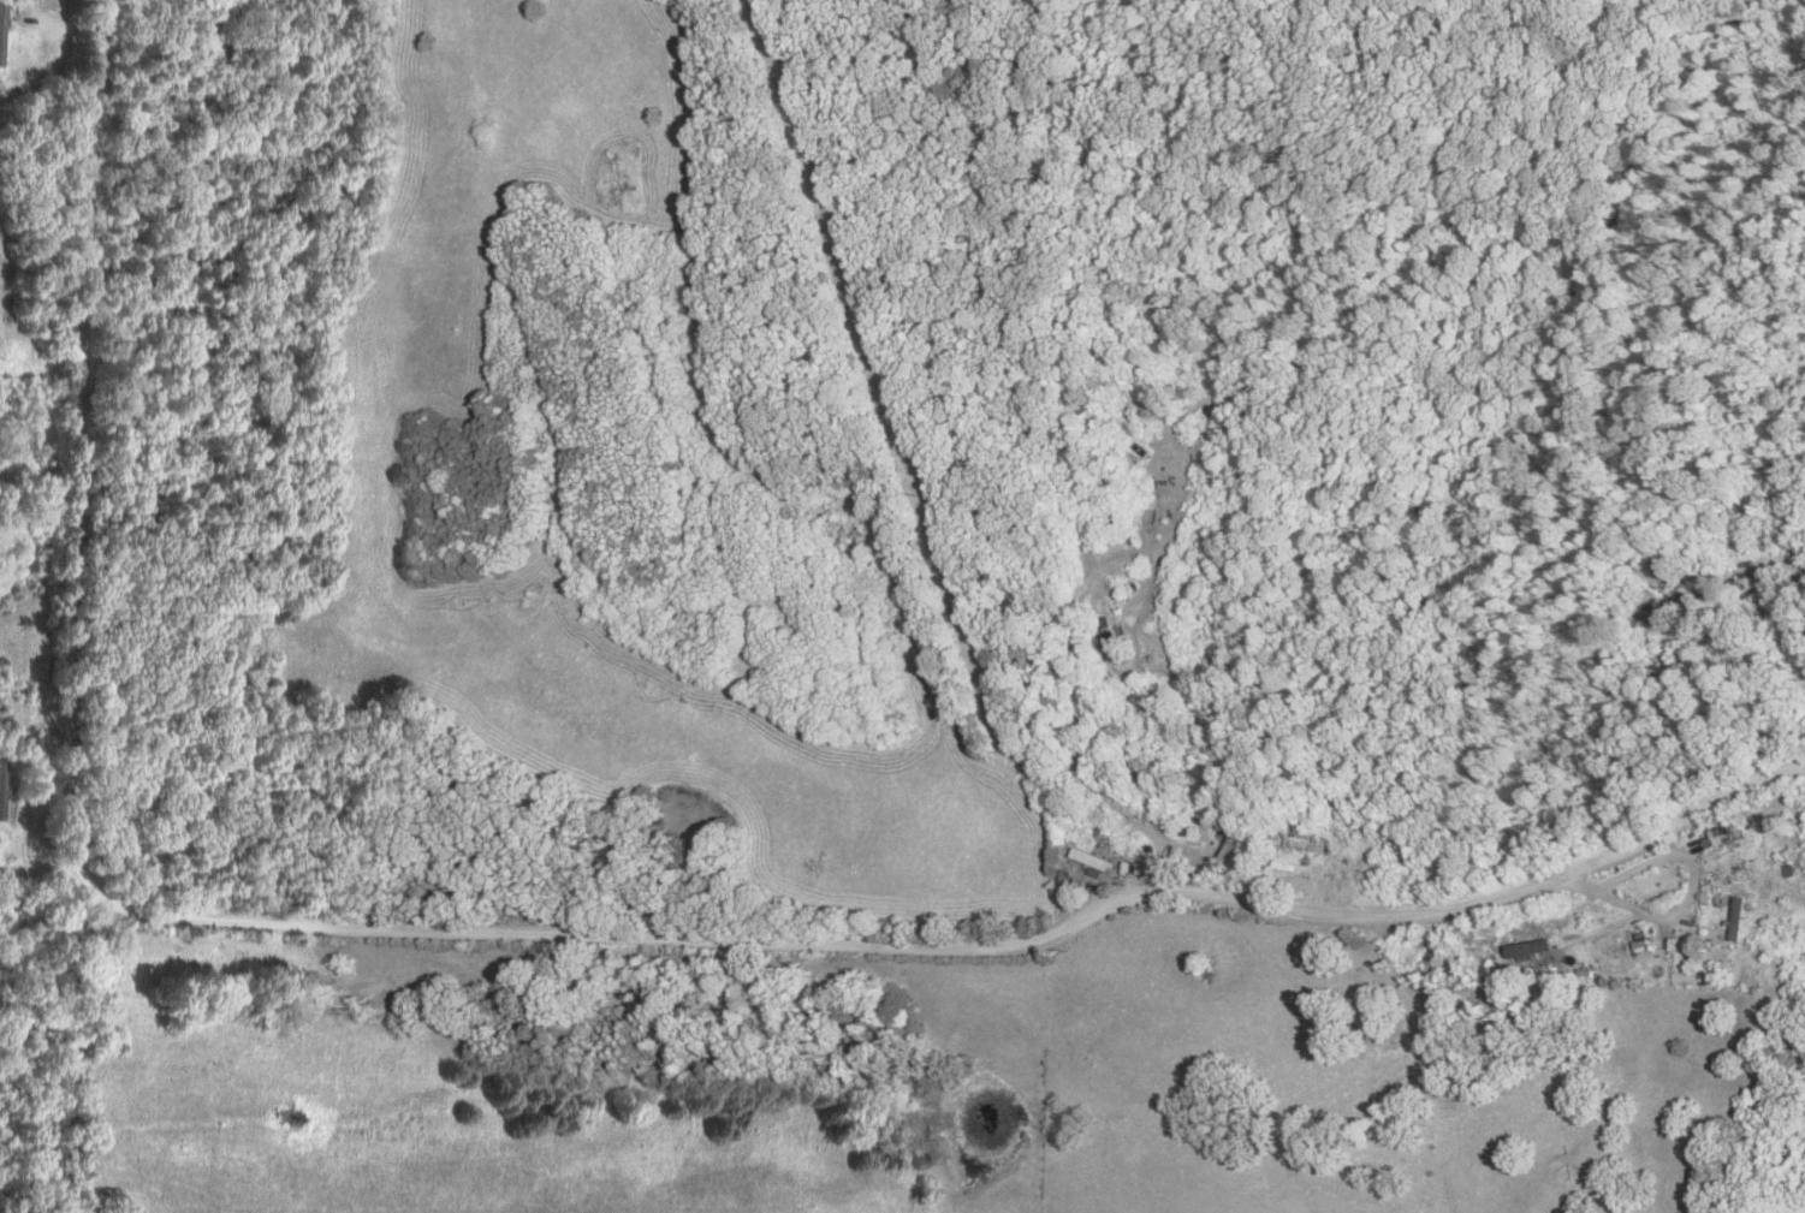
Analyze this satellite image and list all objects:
building: (0, 7)
building: (2, 23)
road: (78, 432)
road: (1752, 567)
building: (1658, 608)
building: (1, 787)
road: (35, 863)
building: (1739, 917)
road: (1679, 918)
road: (946, 947)

